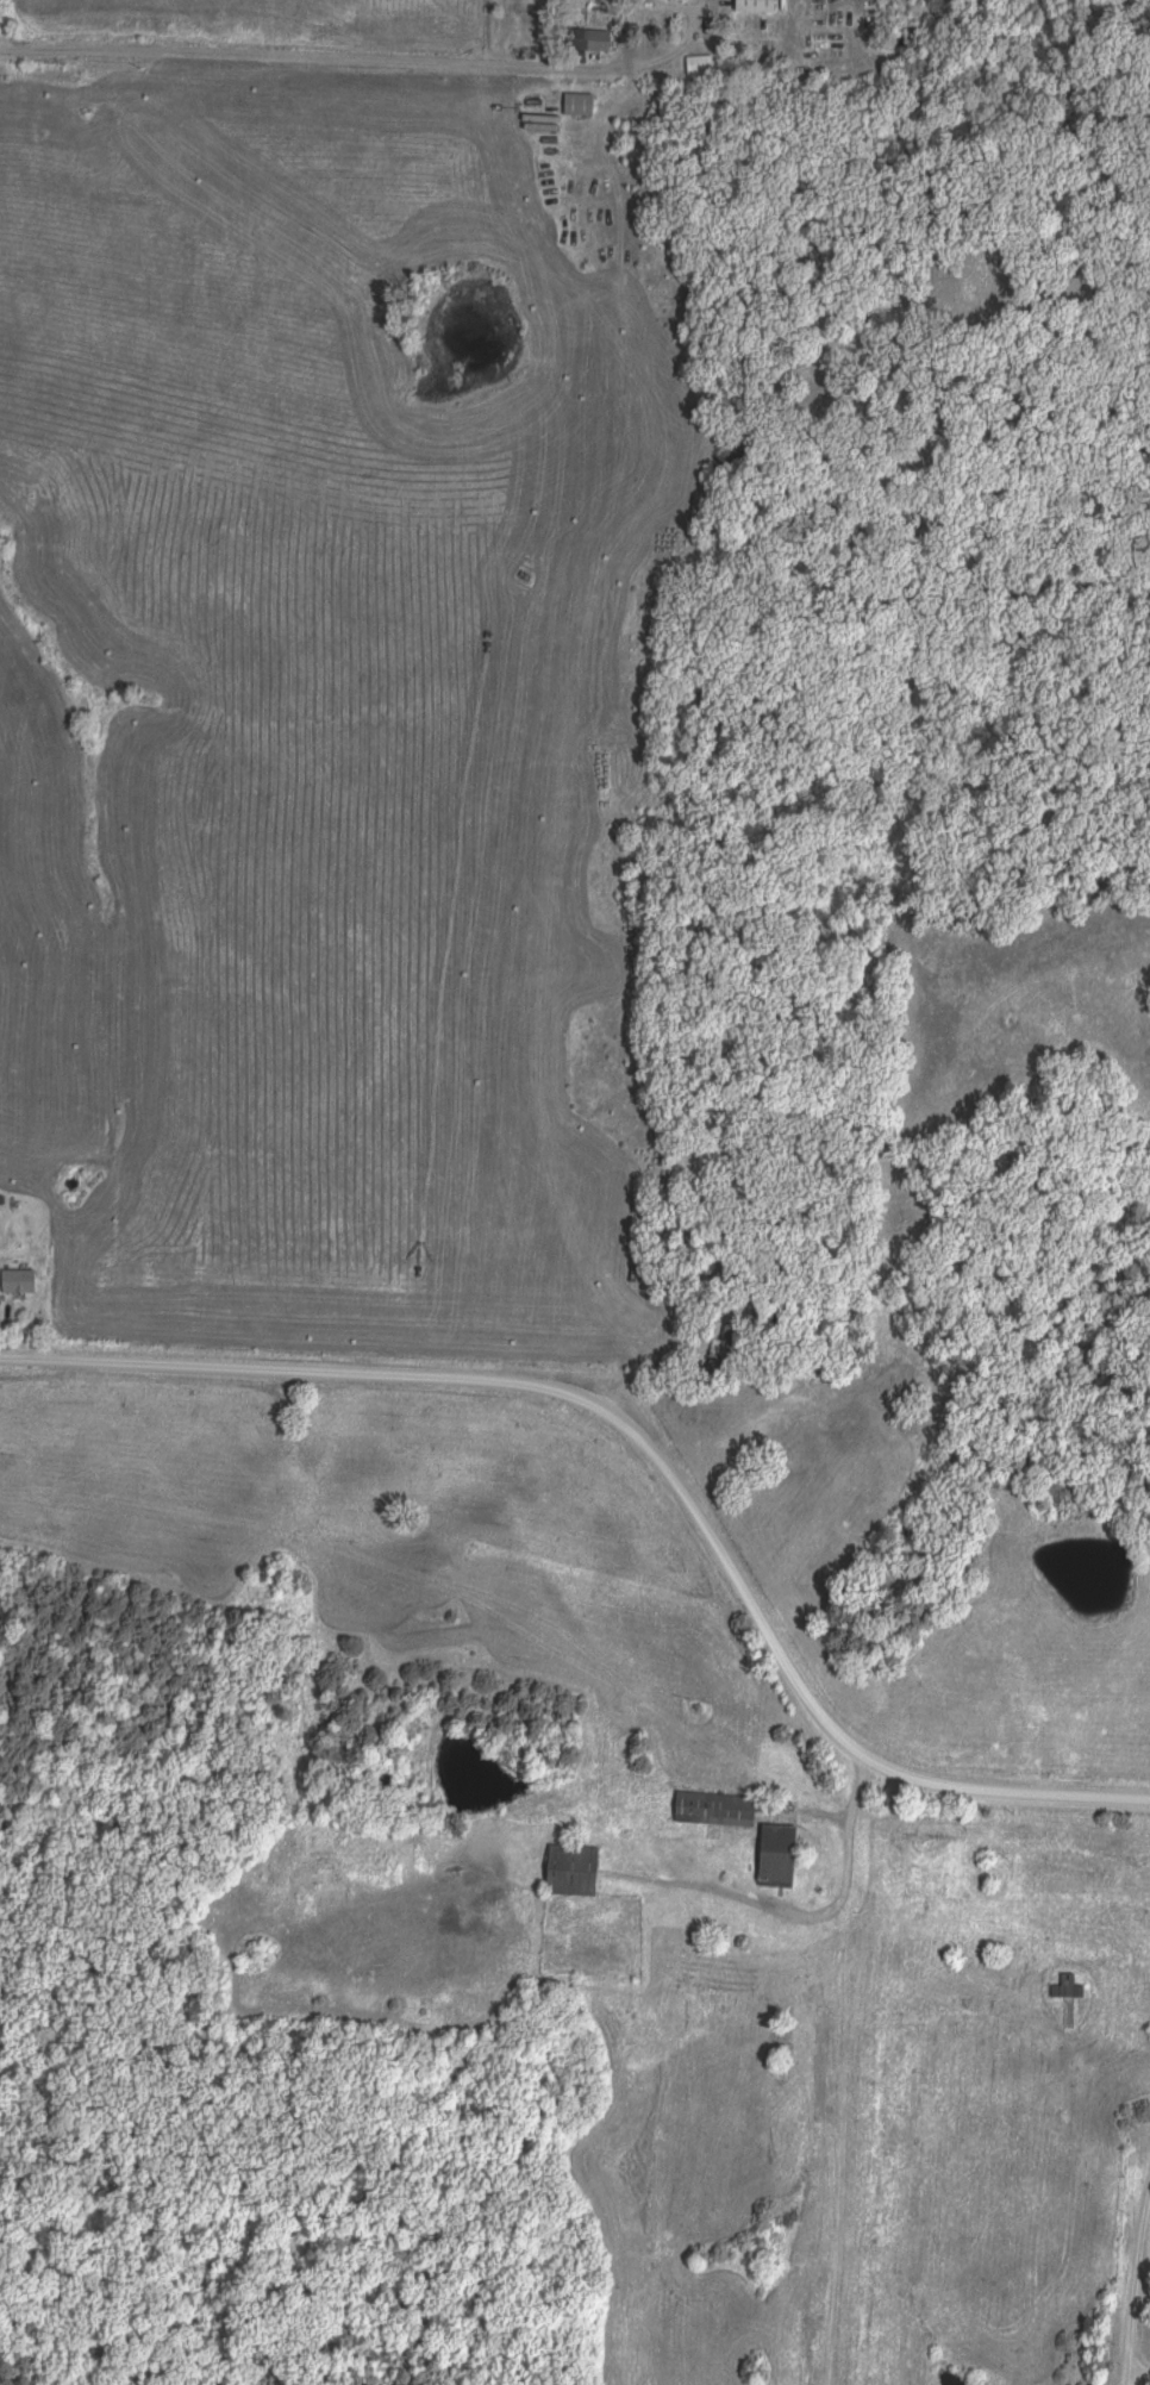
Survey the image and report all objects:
building: (755, 6)
building: (586, 40)
road: (365, 61)
building: (579, 105)
building: (18, 1282)
building: (726, 1343)
road: (646, 1453)
building: (714, 1810)
building: (777, 1855)
road: (844, 1866)
building: (573, 1872)
building: (1068, 1988)
airport runway: (849, 2173)
road: (1135, 2284)
road: (1138, 2372)

